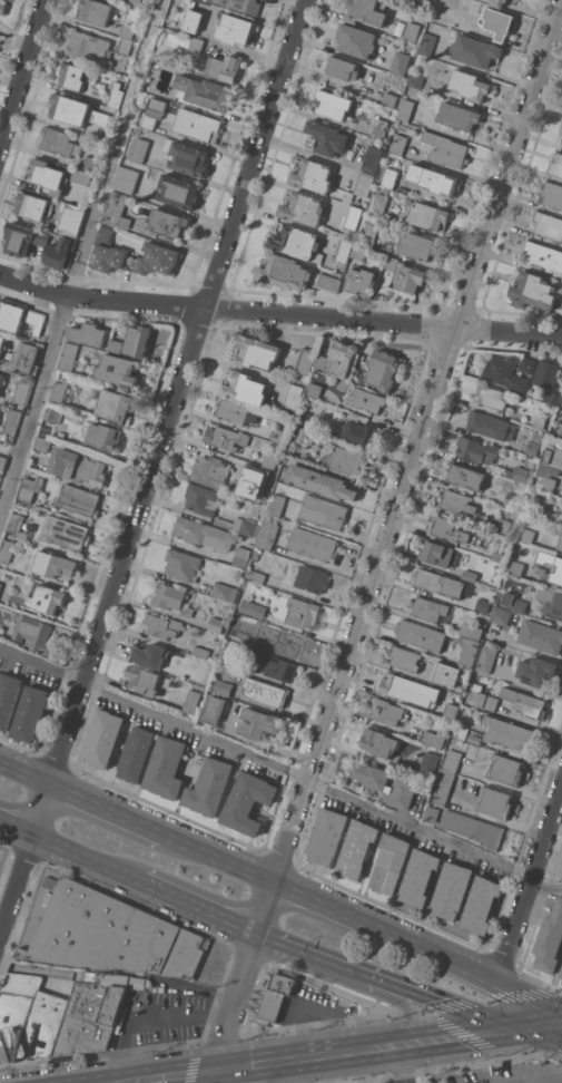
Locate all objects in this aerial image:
building: (134, 2)
building: (499, 2)
building: (421, 3)
building: (243, 4)
building: (2, 7)
building: (95, 11)
building: (367, 11)
building: (193, 20)
building: (499, 22)
building: (236, 29)
building: (126, 31)
building: (412, 31)
building: (357, 40)
building: (427, 43)
building: (196, 45)
building: (124, 47)
building: (89, 48)
building: (475, 50)
building: (401, 64)
building: (225, 67)
building: (344, 68)
road: (22, 74)
building: (73, 75)
building: (393, 79)
building: (415, 80)
building: (470, 85)
building: (206, 91)
building: (117, 95)
building: (390, 99)
building: (333, 104)
building: (69, 108)
building: (405, 109)
building: (98, 116)
building: (460, 116)
building: (149, 121)
building: (197, 124)
building: (379, 129)
building: (561, 134)
building: (327, 137)
building: (57, 142)
building: (398, 144)
building: (445, 149)
building: (139, 150)
building: (187, 157)
building: (372, 159)
building: (90, 163)
building: (556, 165)
building: (313, 175)
building: (49, 176)
building: (81, 177)
building: (125, 178)
building: (390, 178)
building: (434, 179)
building: (363, 184)
building: (179, 191)
building: (551, 194)
building: (32, 205)
building: (378, 205)
building: (303, 208)
building: (117, 211)
building: (427, 215)
building: (352, 217)
building: (72, 218)
building: (168, 225)
building: (548, 225)
building: (368, 236)
building: (23, 238)
building: (297, 243)
building: (418, 246)
building: (344, 250)
building: (108, 251)
building: (59, 252)
building: (358, 252)
building: (543, 256)
road: (81, 257)
building: (158, 257)
building: (391, 263)
building: (285, 273)
building: (410, 277)
building: (361, 281)
building: (328, 283)
building: (533, 291)
building: (11, 315)
road: (279, 315)
building: (37, 321)
building: (89, 333)
building: (138, 340)
building: (1, 343)
building: (115, 345)
building: (258, 351)
building: (24, 357)
building: (68, 357)
building: (339, 359)
building: (305, 360)
building: (526, 364)
building: (383, 369)
building: (120, 371)
building: (546, 372)
building: (505, 373)
building: (0, 375)
building: (246, 388)
building: (314, 389)
building: (22, 390)
building: (59, 390)
building: (293, 396)
building: (491, 397)
building: (551, 397)
building: (367, 400)
building: (115, 404)
building: (233, 410)
building: (0, 413)
building: (52, 414)
building: (254, 414)
building: (307, 419)
building: (11, 422)
building: (539, 422)
building: (487, 425)
building: (559, 429)
building: (361, 433)
building: (303, 435)
building: (105, 436)
building: (278, 436)
building: (226, 437)
building: (41, 443)
building: (532, 447)
building: (477, 450)
building: (555, 458)
building: (272, 459)
building: (351, 460)
building: (2, 461)
building: (79, 466)
road: (154, 470)
building: (214, 470)
building: (521, 474)
building: (464, 476)
building: (548, 476)
building: (263, 478)
building: (322, 482)
building: (29, 488)
building: (79, 499)
building: (203, 499)
building: (511, 499)
building: (455, 501)
building: (277, 505)
road: (397, 510)
building: (325, 511)
building: (16, 523)
building: (240, 525)
building: (503, 525)
building: (448, 529)
building: (66, 531)
building: (268, 531)
building: (204, 533)
building: (525, 536)
building: (560, 543)
building: (314, 544)
building: (7, 549)
building: (257, 552)
building: (436, 553)
building: (240, 556)
building: (497, 556)
building: (55, 564)
building: (183, 565)
building: (516, 568)
building: (556, 568)
building: (237, 574)
building: (469, 575)
building: (256, 576)
building: (6, 577)
building: (312, 578)
building: (437, 582)
building: (225, 591)
building: (169, 595)
building: (47, 598)
building: (550, 601)
building: (483, 605)
building: (517, 605)
building: (253, 608)
building: (428, 608)
building: (187, 611)
building: (303, 613)
building: (500, 615)
building: (162, 625)
building: (217, 625)
building: (243, 628)
building: (472, 631)
building: (33, 633)
building: (421, 635)
building: (540, 636)
building: (259, 644)
building: (290, 645)
road: (413, 646)
building: (469, 651)
building: (201, 652)
building: (150, 655)
building: (405, 658)
building: (486, 660)
building: (229, 663)
building: (272, 663)
building: (535, 671)
building: (446, 673)
building: (142, 680)
building: (223, 687)
building: (410, 690)
building: (266, 692)
building: (8, 696)
building: (482, 699)
building: (191, 701)
building: (525, 702)
building: (215, 709)
building: (452, 709)
building: (388, 712)
building: (30, 713)
building: (259, 723)
building: (460, 732)
building: (509, 735)
building: (102, 738)
building: (433, 739)
building: (378, 742)
building: (136, 753)
building: (452, 760)
building: (430, 762)
building: (166, 768)
road: (282, 768)
building: (505, 770)
road: (26, 771)
building: (386, 784)
building: (442, 784)
building: (209, 787)
building: (248, 801)
building: (494, 802)
road: (109, 809)
building: (466, 826)
road: (17, 828)
building: (327, 836)
building: (357, 848)
power substation: (0, 852)
road: (85, 858)
road: (221, 858)
building: (391, 862)
building: (418, 877)
road: (531, 888)
building: (452, 890)
building: (482, 905)
road: (326, 906)
road: (197, 907)
building: (111, 934)
building: (550, 939)
road: (313, 954)
road: (436, 955)
building: (561, 975)
building: (561, 976)
road: (119, 980)
building: (275, 997)
road: (522, 1002)
road: (404, 1005)
road: (454, 1006)
building: (16, 1011)
building: (89, 1017)
road: (150, 1018)
road: (553, 1019)
traffic signals: (545, 1022)
road: (553, 1022)
building: (43, 1025)
road: (553, 1025)
road: (471, 1032)
road: (223, 1044)
road: (322, 1055)
road: (402, 1063)
road: (229, 1070)
road: (246, 1075)
road: (172, 1076)
road: (536, 1079)
road: (156, 1081)

